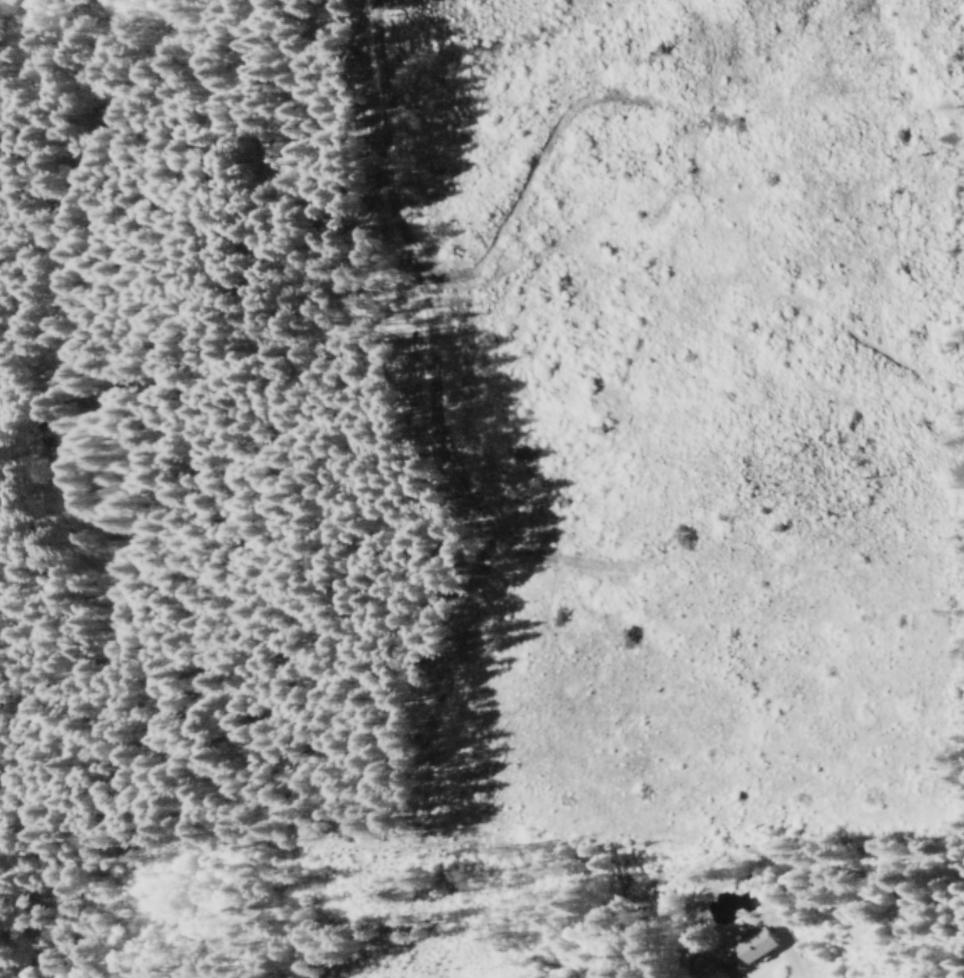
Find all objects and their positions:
building: (751, 944)

